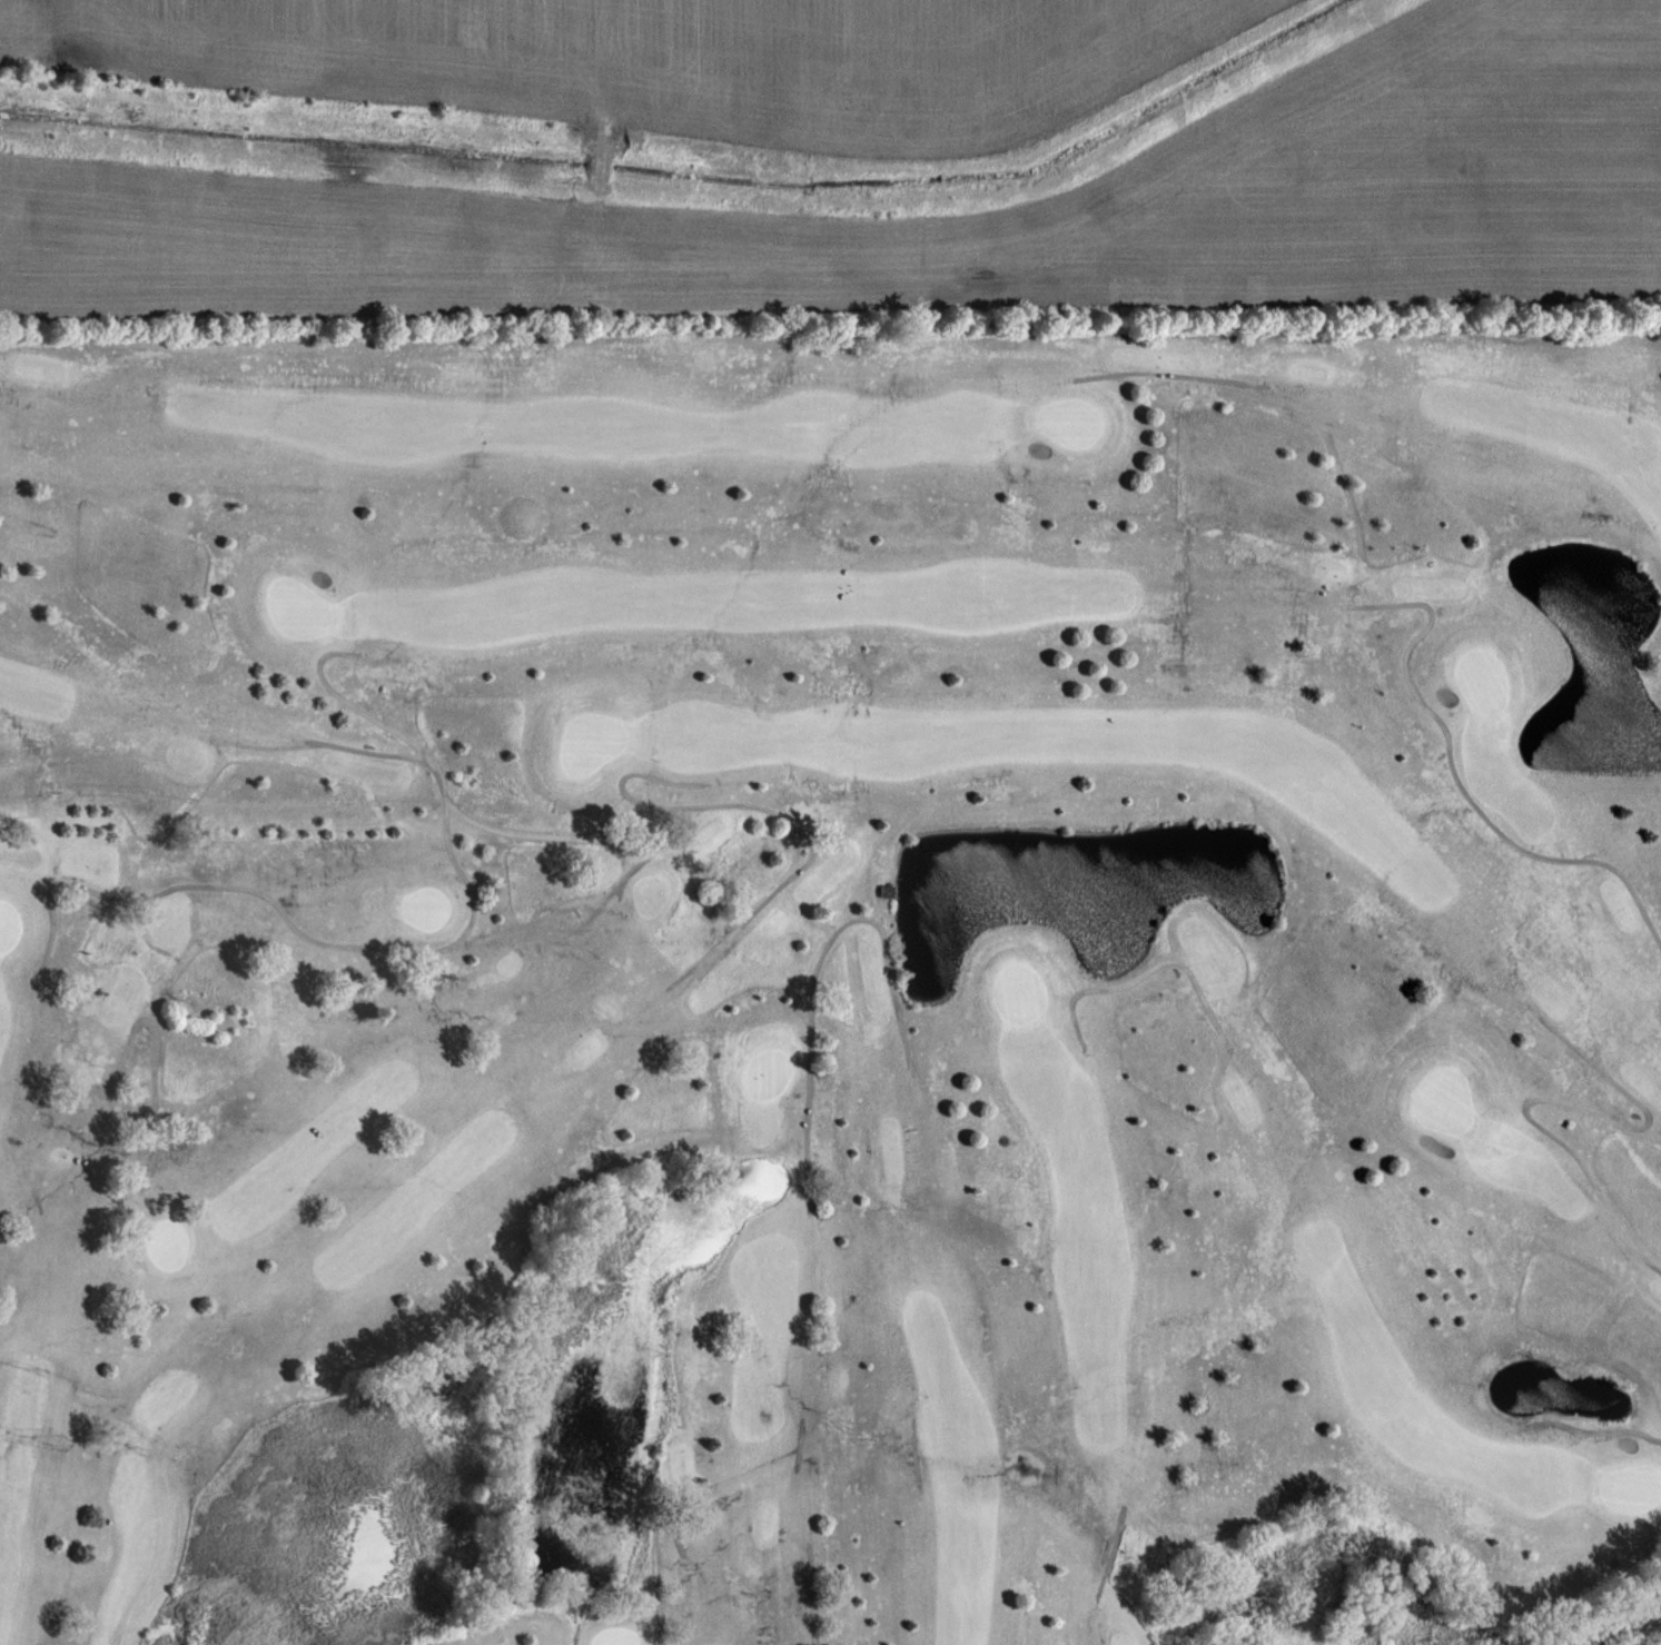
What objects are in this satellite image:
road: (1169, 376)
road: (356, 698)
road: (1450, 773)
road: (777, 803)
road: (613, 824)
road: (392, 940)
road: (1186, 963)
road: (155, 1040)
road: (1570, 1091)
road: (813, 1163)
road: (1600, 1421)
road: (658, 1544)
road: (1107, 1573)

